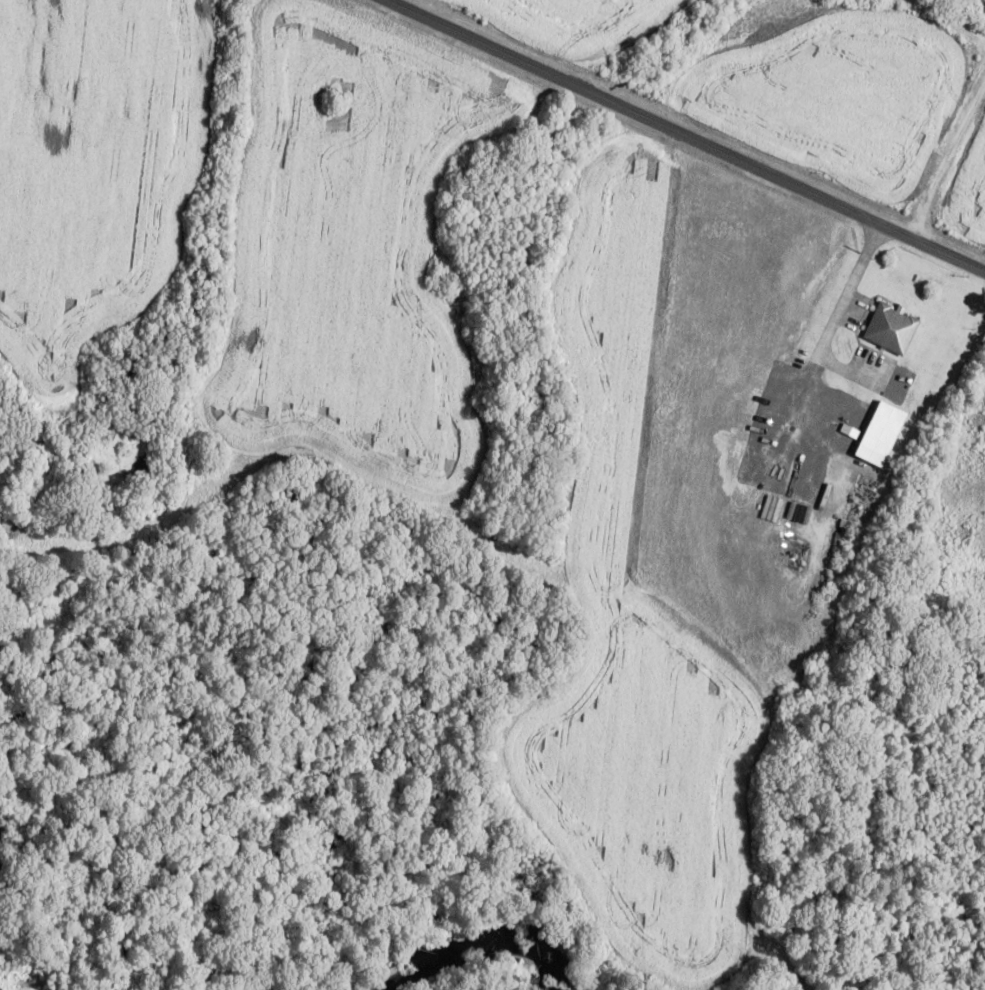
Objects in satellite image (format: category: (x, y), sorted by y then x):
road: (690, 134)
building: (891, 327)
building: (880, 433)
river: (486, 947)

